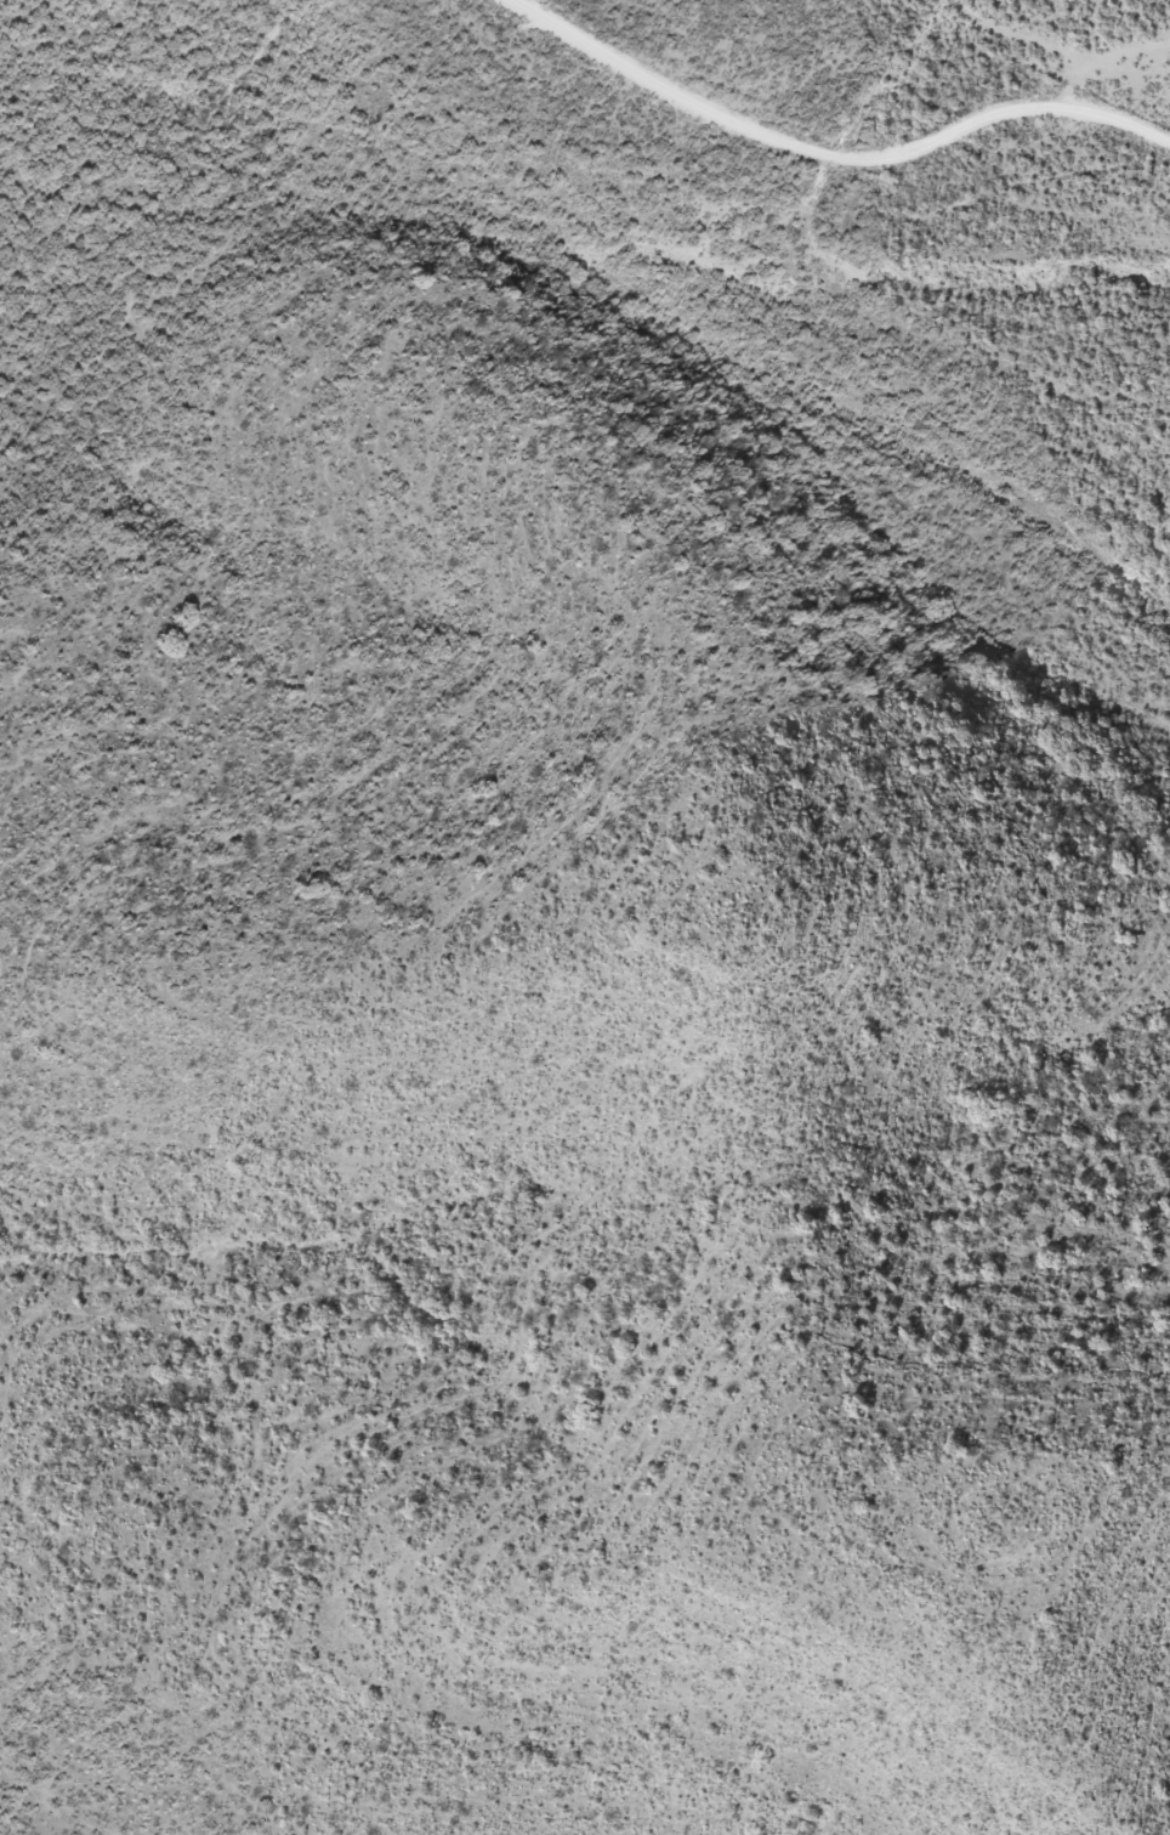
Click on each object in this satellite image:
road: (1107, 57)
road: (836, 155)

